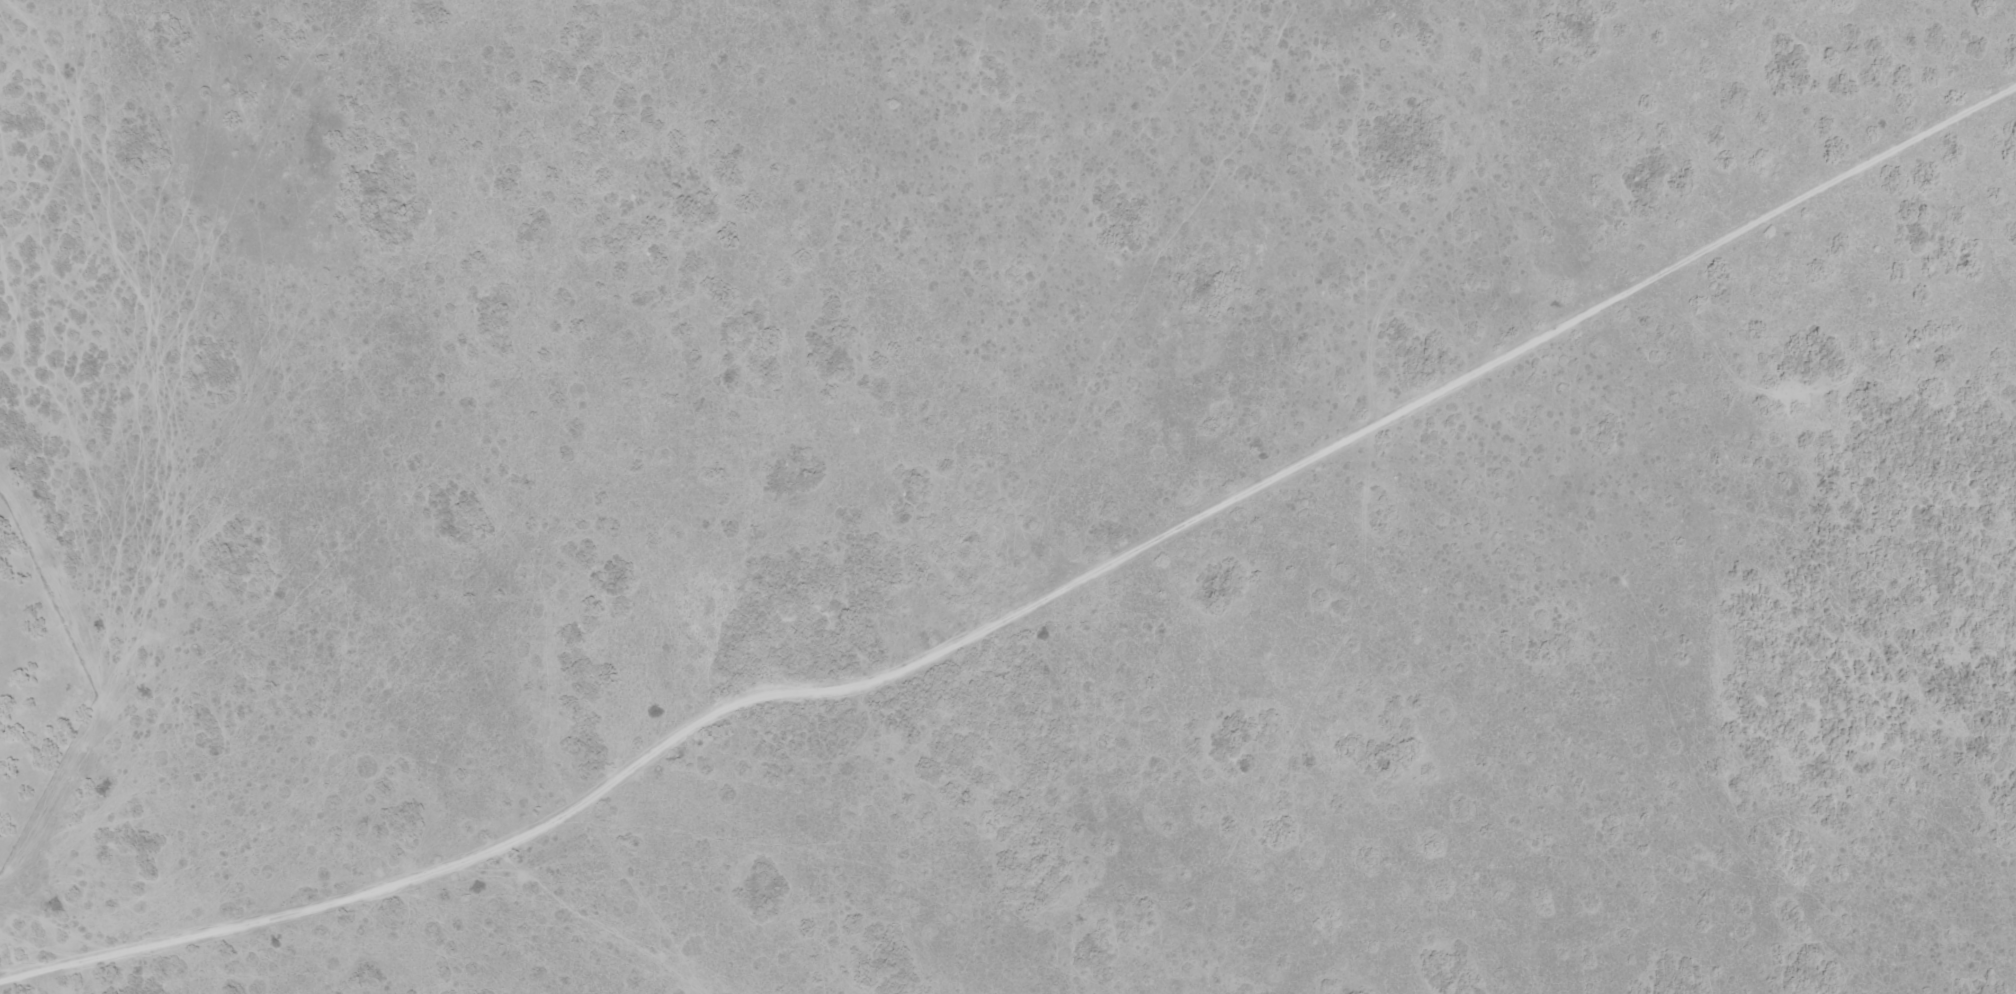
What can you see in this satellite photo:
road: (409, 870)

